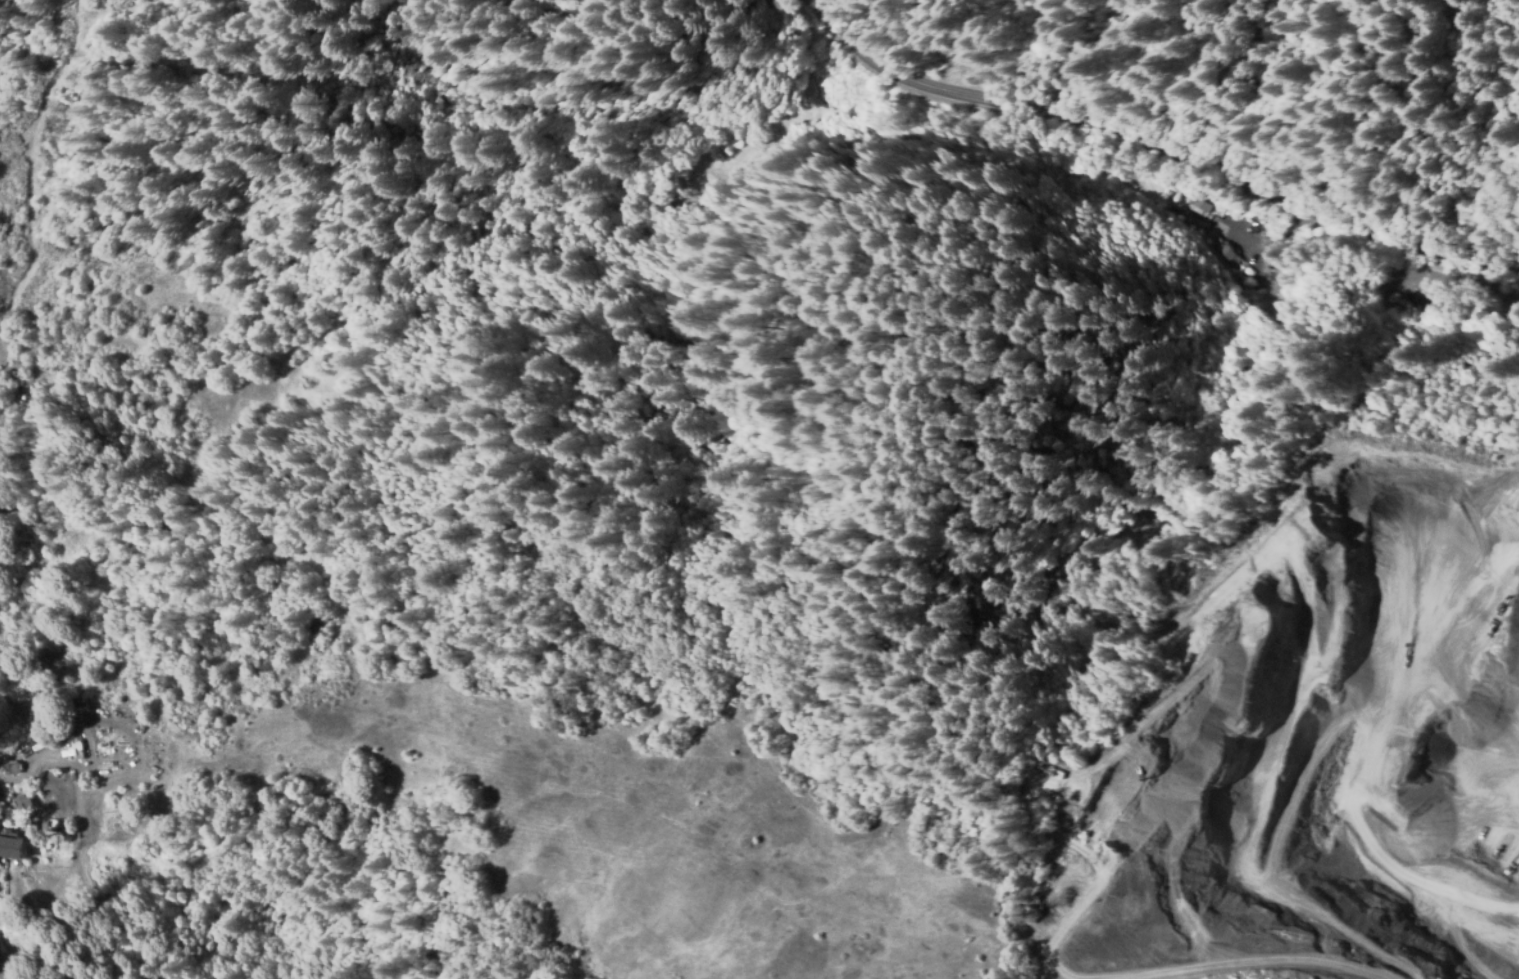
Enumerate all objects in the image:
road: (843, 16)
road: (1150, 152)
building: (1168, 186)
building: (1192, 203)
building: (1179, 220)
building: (1216, 250)
building: (1406, 266)
building: (1408, 297)
road: (2, 369)
building: (68, 696)
building: (23, 702)
building: (61, 750)
building: (7, 766)
building: (4, 790)
building: (17, 805)
building: (11, 841)

